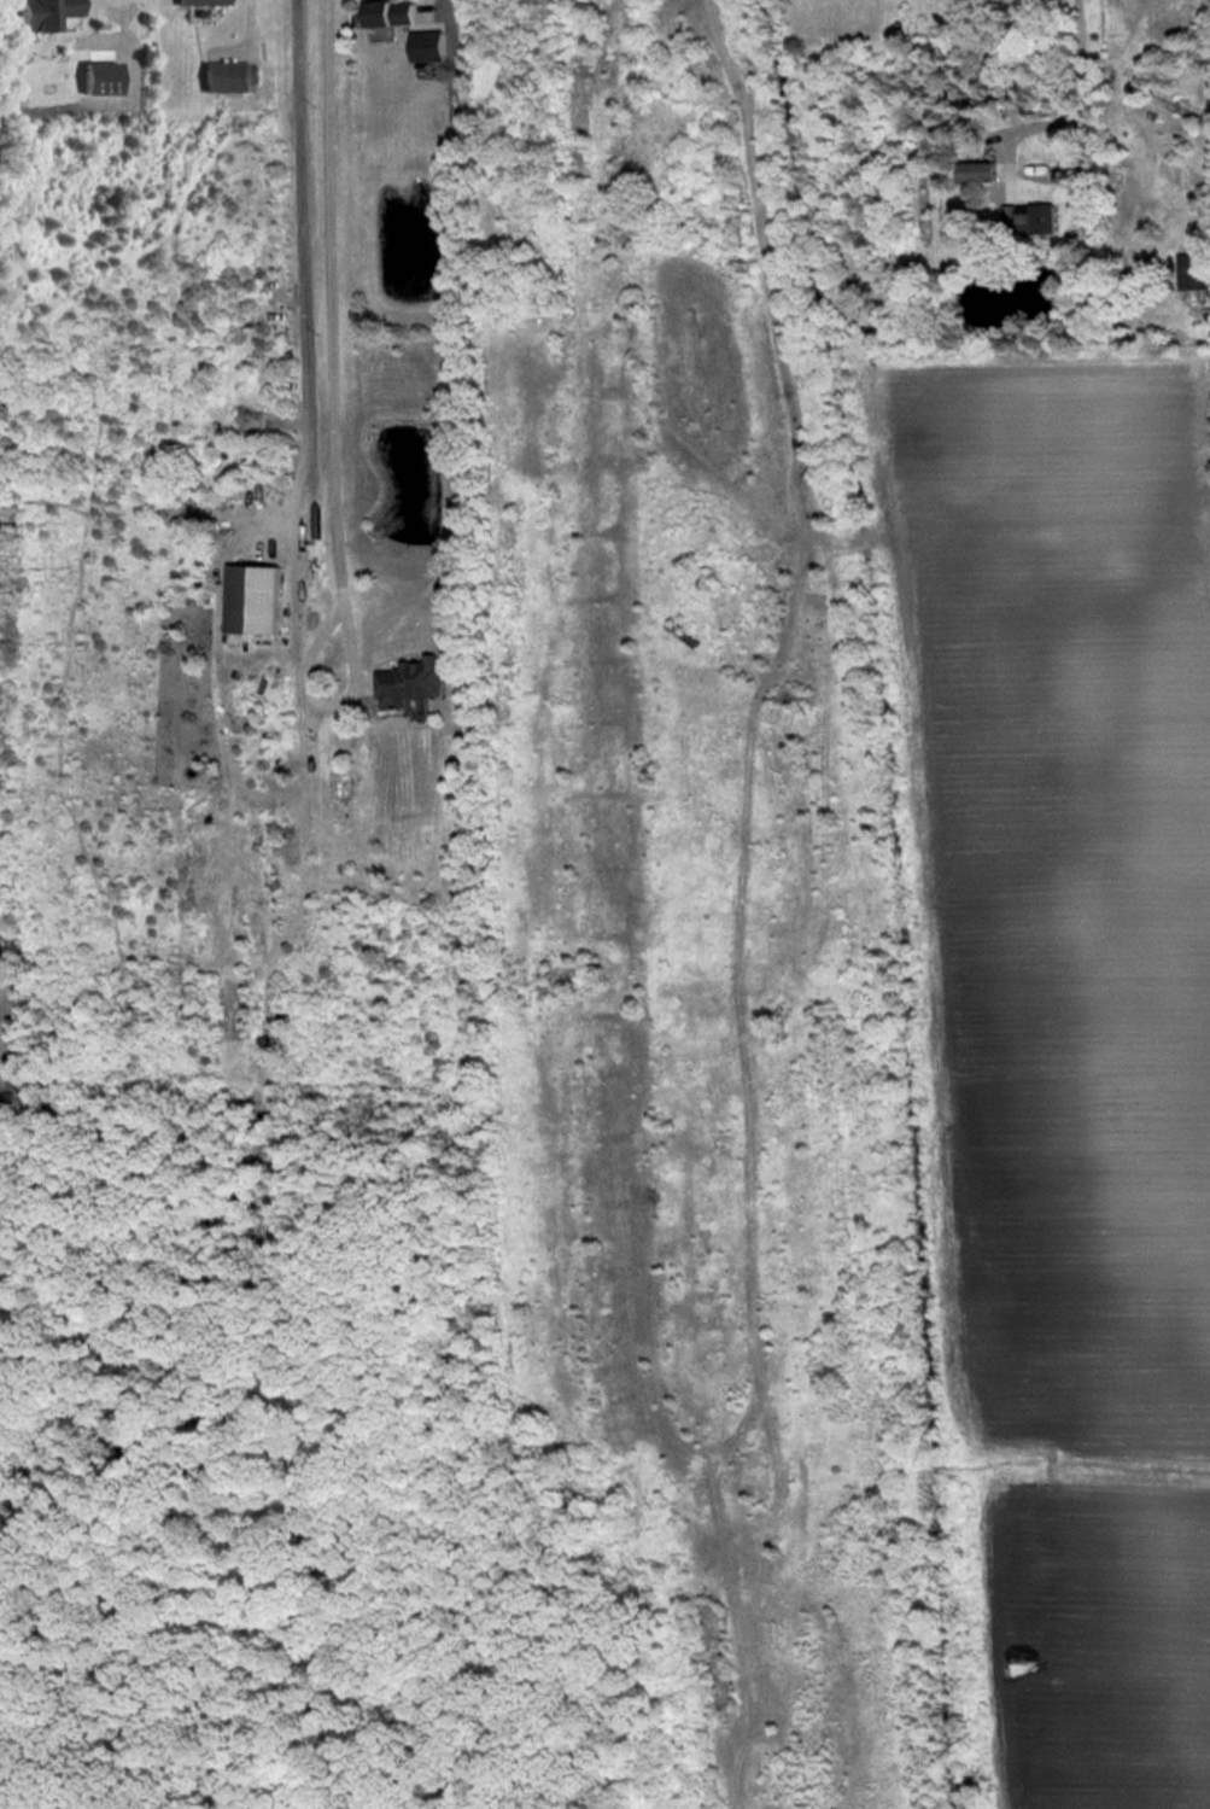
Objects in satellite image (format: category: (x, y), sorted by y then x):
road: (440, 0)
building: (203, 2)
building: (43, 13)
building: (390, 13)
road: (250, 29)
building: (428, 46)
building: (227, 77)
road: (1072, 105)
building: (977, 173)
building: (1031, 217)
road: (299, 269)
building: (1194, 275)
road: (326, 334)
building: (253, 600)
building: (410, 683)

